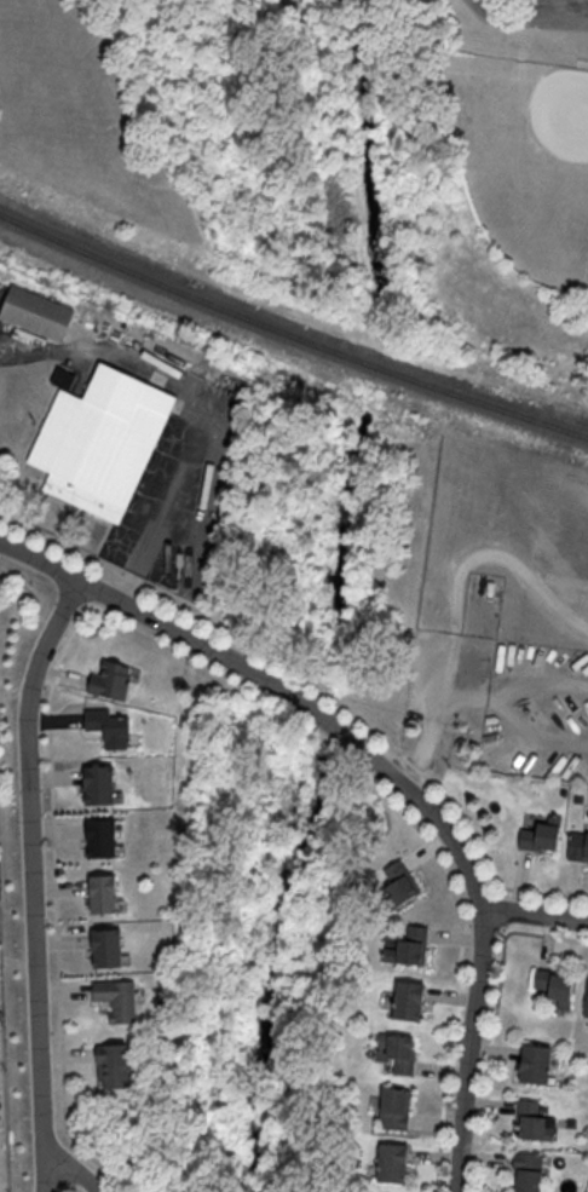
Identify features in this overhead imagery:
road: (530, 22)
park: (528, 157)
park: (491, 165)
building: (33, 313)
railway: (290, 334)
road: (197, 392)
building: (94, 438)
road: (122, 586)
road: (457, 601)
building: (108, 680)
road: (542, 684)
road: (469, 696)
building: (106, 727)
road: (535, 732)
road: (386, 774)
building: (94, 785)
building: (535, 837)
building: (97, 839)
building: (576, 847)
building: (396, 882)
road: (30, 883)
building: (98, 893)
road: (535, 916)
building: (405, 946)
building: (102, 948)
building: (552, 987)
building: (584, 998)
building: (114, 1000)
building: (404, 1001)
building: (396, 1053)
building: (530, 1064)
building: (109, 1067)
building: (391, 1108)
building: (526, 1119)
building: (388, 1163)
building: (524, 1173)

